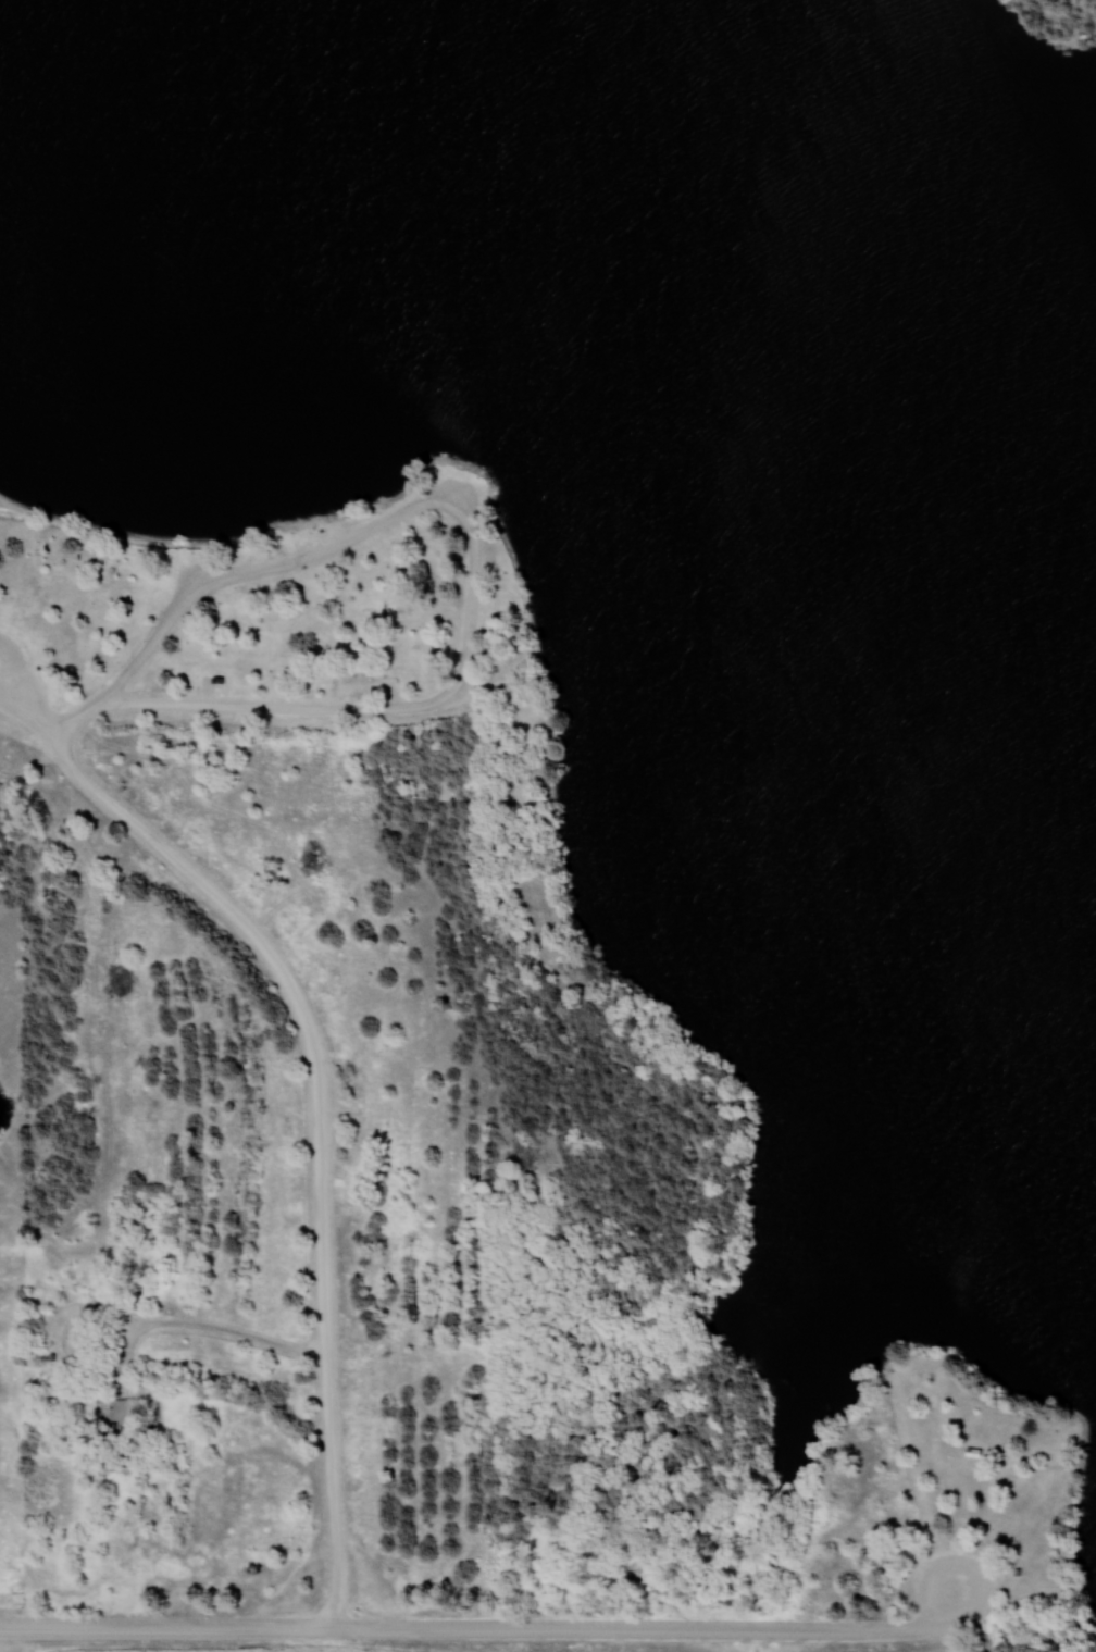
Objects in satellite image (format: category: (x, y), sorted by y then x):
parking lot: (452, 492)
road: (473, 581)
parking lot: (17, 682)
road: (85, 716)
park: (555, 808)
road: (319, 1091)
parking lot: (334, 1102)
road: (324, 1103)
parking lot: (954, 1582)
road: (957, 1607)
road: (490, 1627)
road: (17, 1629)

